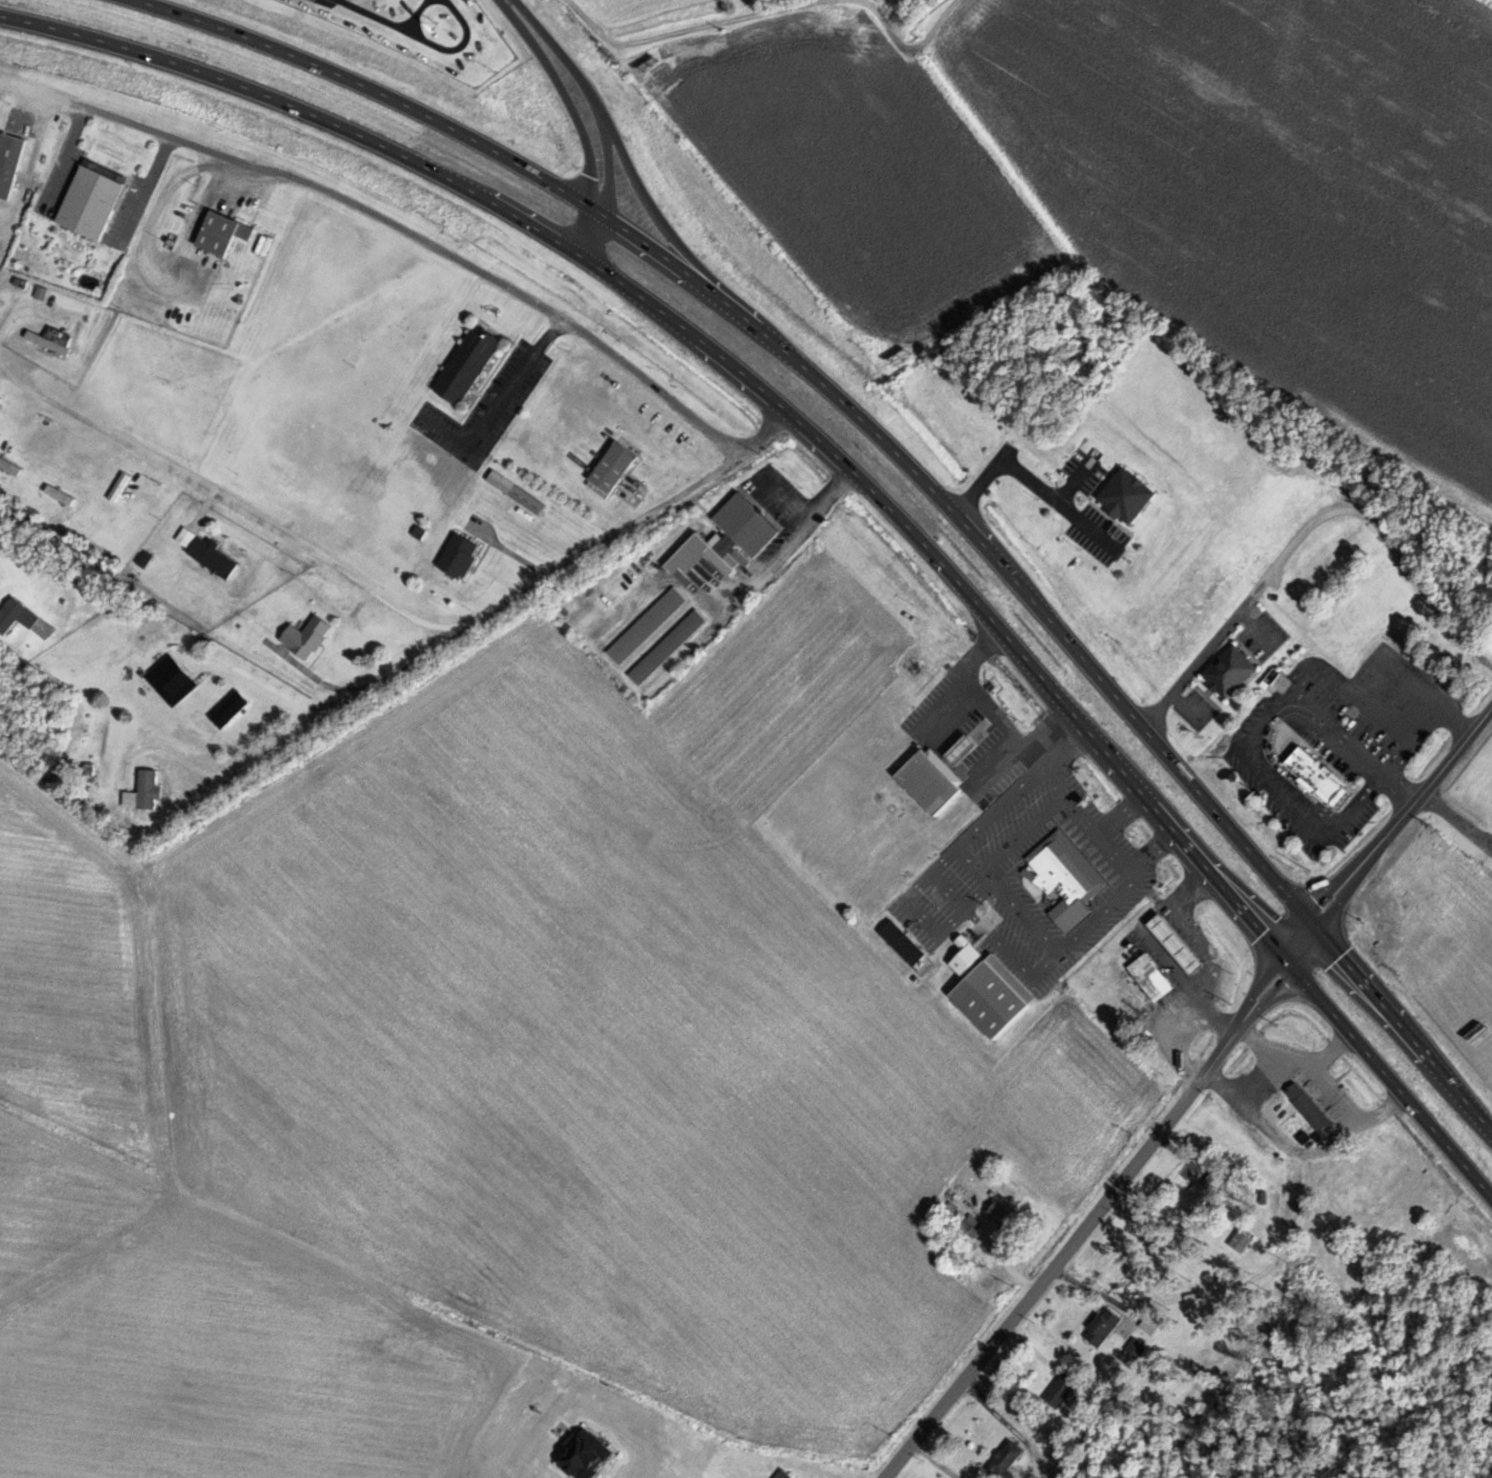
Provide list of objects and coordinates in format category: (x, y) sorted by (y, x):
road: (372, 88)
road: (299, 109)
road: (588, 114)
building: (9, 162)
road: (625, 171)
building: (92, 203)
road: (390, 221)
building: (224, 232)
building: (50, 339)
building: (468, 363)
road: (495, 405)
building: (10, 466)
building: (615, 467)
road: (1073, 479)
road: (1031, 484)
building: (118, 486)
building: (59, 494)
building: (1128, 494)
road: (229, 500)
building: (742, 527)
building: (459, 554)
building: (646, 624)
road: (460, 630)
building: (307, 636)
road: (1074, 636)
building: (667, 646)
building: (1230, 670)
building: (172, 679)
road: (1059, 698)
building: (229, 708)
building: (962, 748)
building: (1318, 775)
building: (931, 780)
building: (145, 791)
road: (1393, 839)
building: (1065, 877)
building: (936, 901)
building: (890, 924)
building: (1179, 943)
building: (1152, 976)
building: (991, 989)
building: (1307, 1106)
building: (1356, 1190)
building: (1202, 1192)
building: (1002, 1214)
road: (1086, 1221)
building: (1395, 1226)
building: (1149, 1323)
building: (1103, 1326)
building: (1062, 1389)
building: (1006, 1460)
building: (782, 1473)

